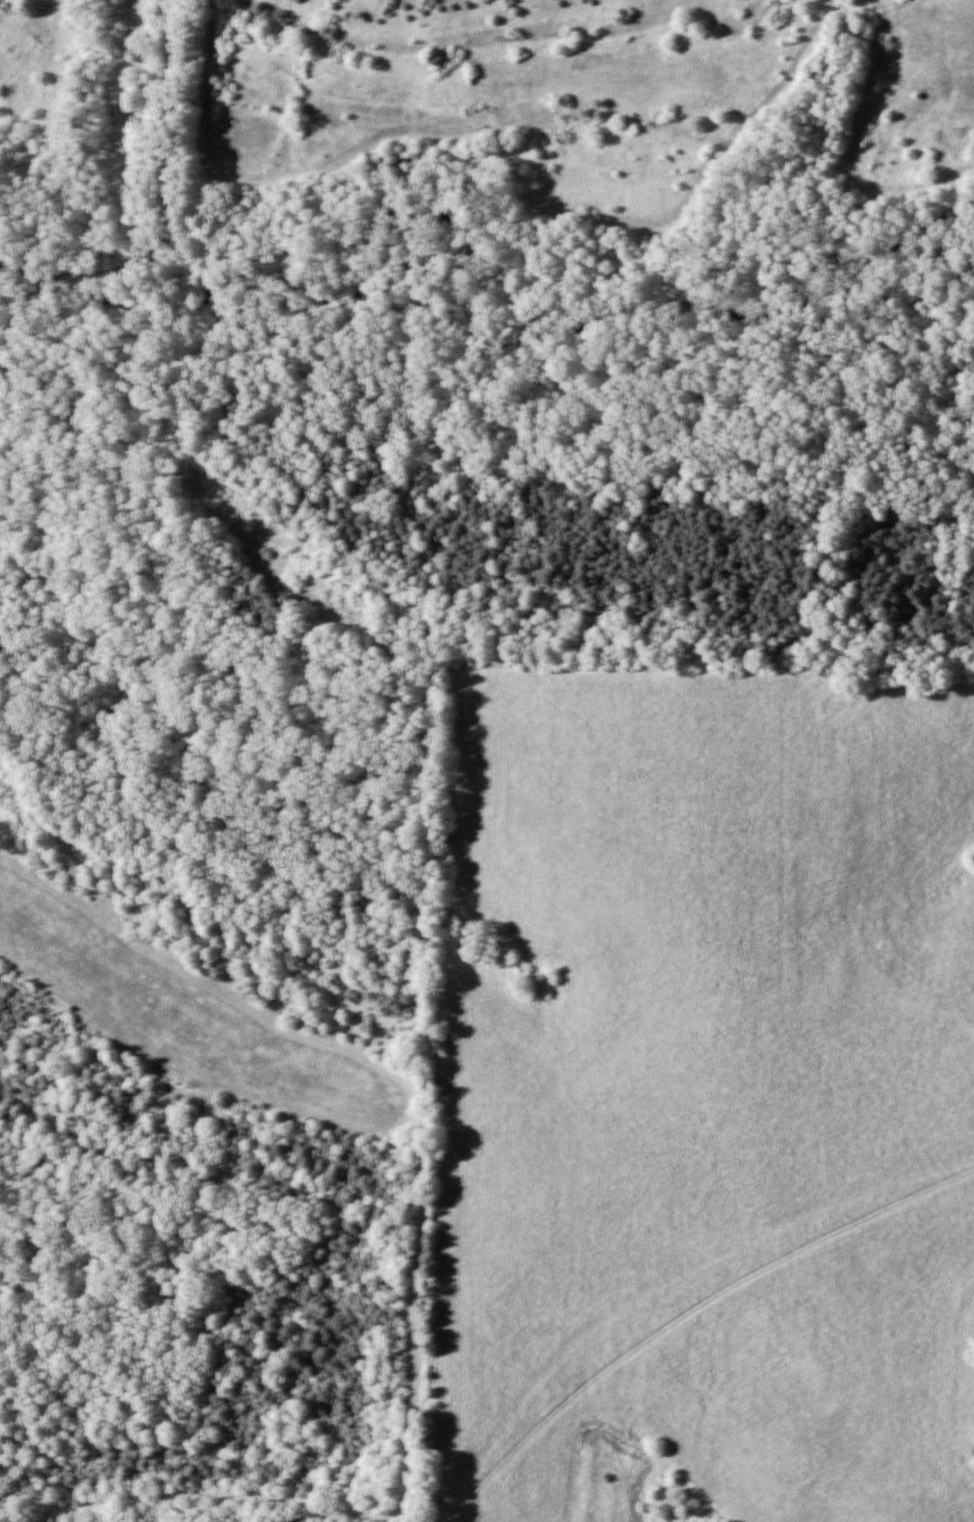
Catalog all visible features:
road: (168, 209)

